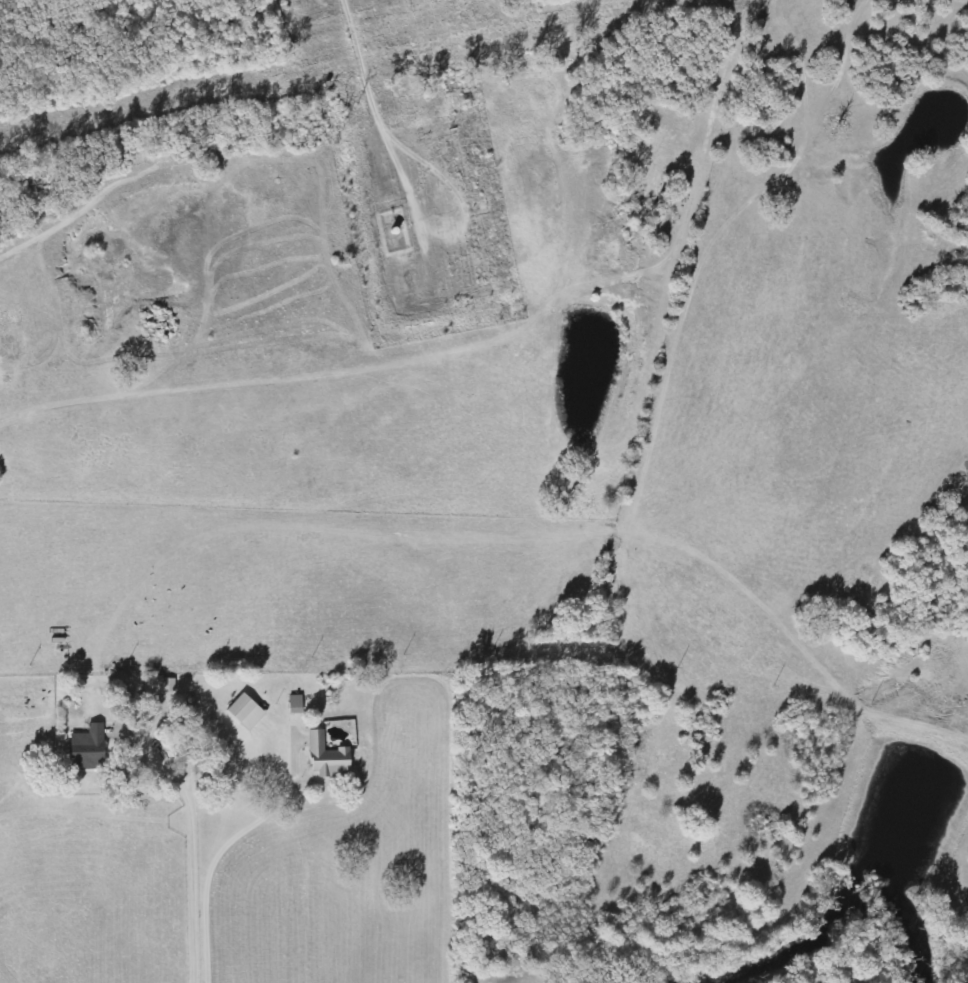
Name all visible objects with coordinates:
road: (361, 64)
building: (154, 685)
building: (296, 705)
building: (246, 713)
building: (89, 749)
building: (328, 758)

